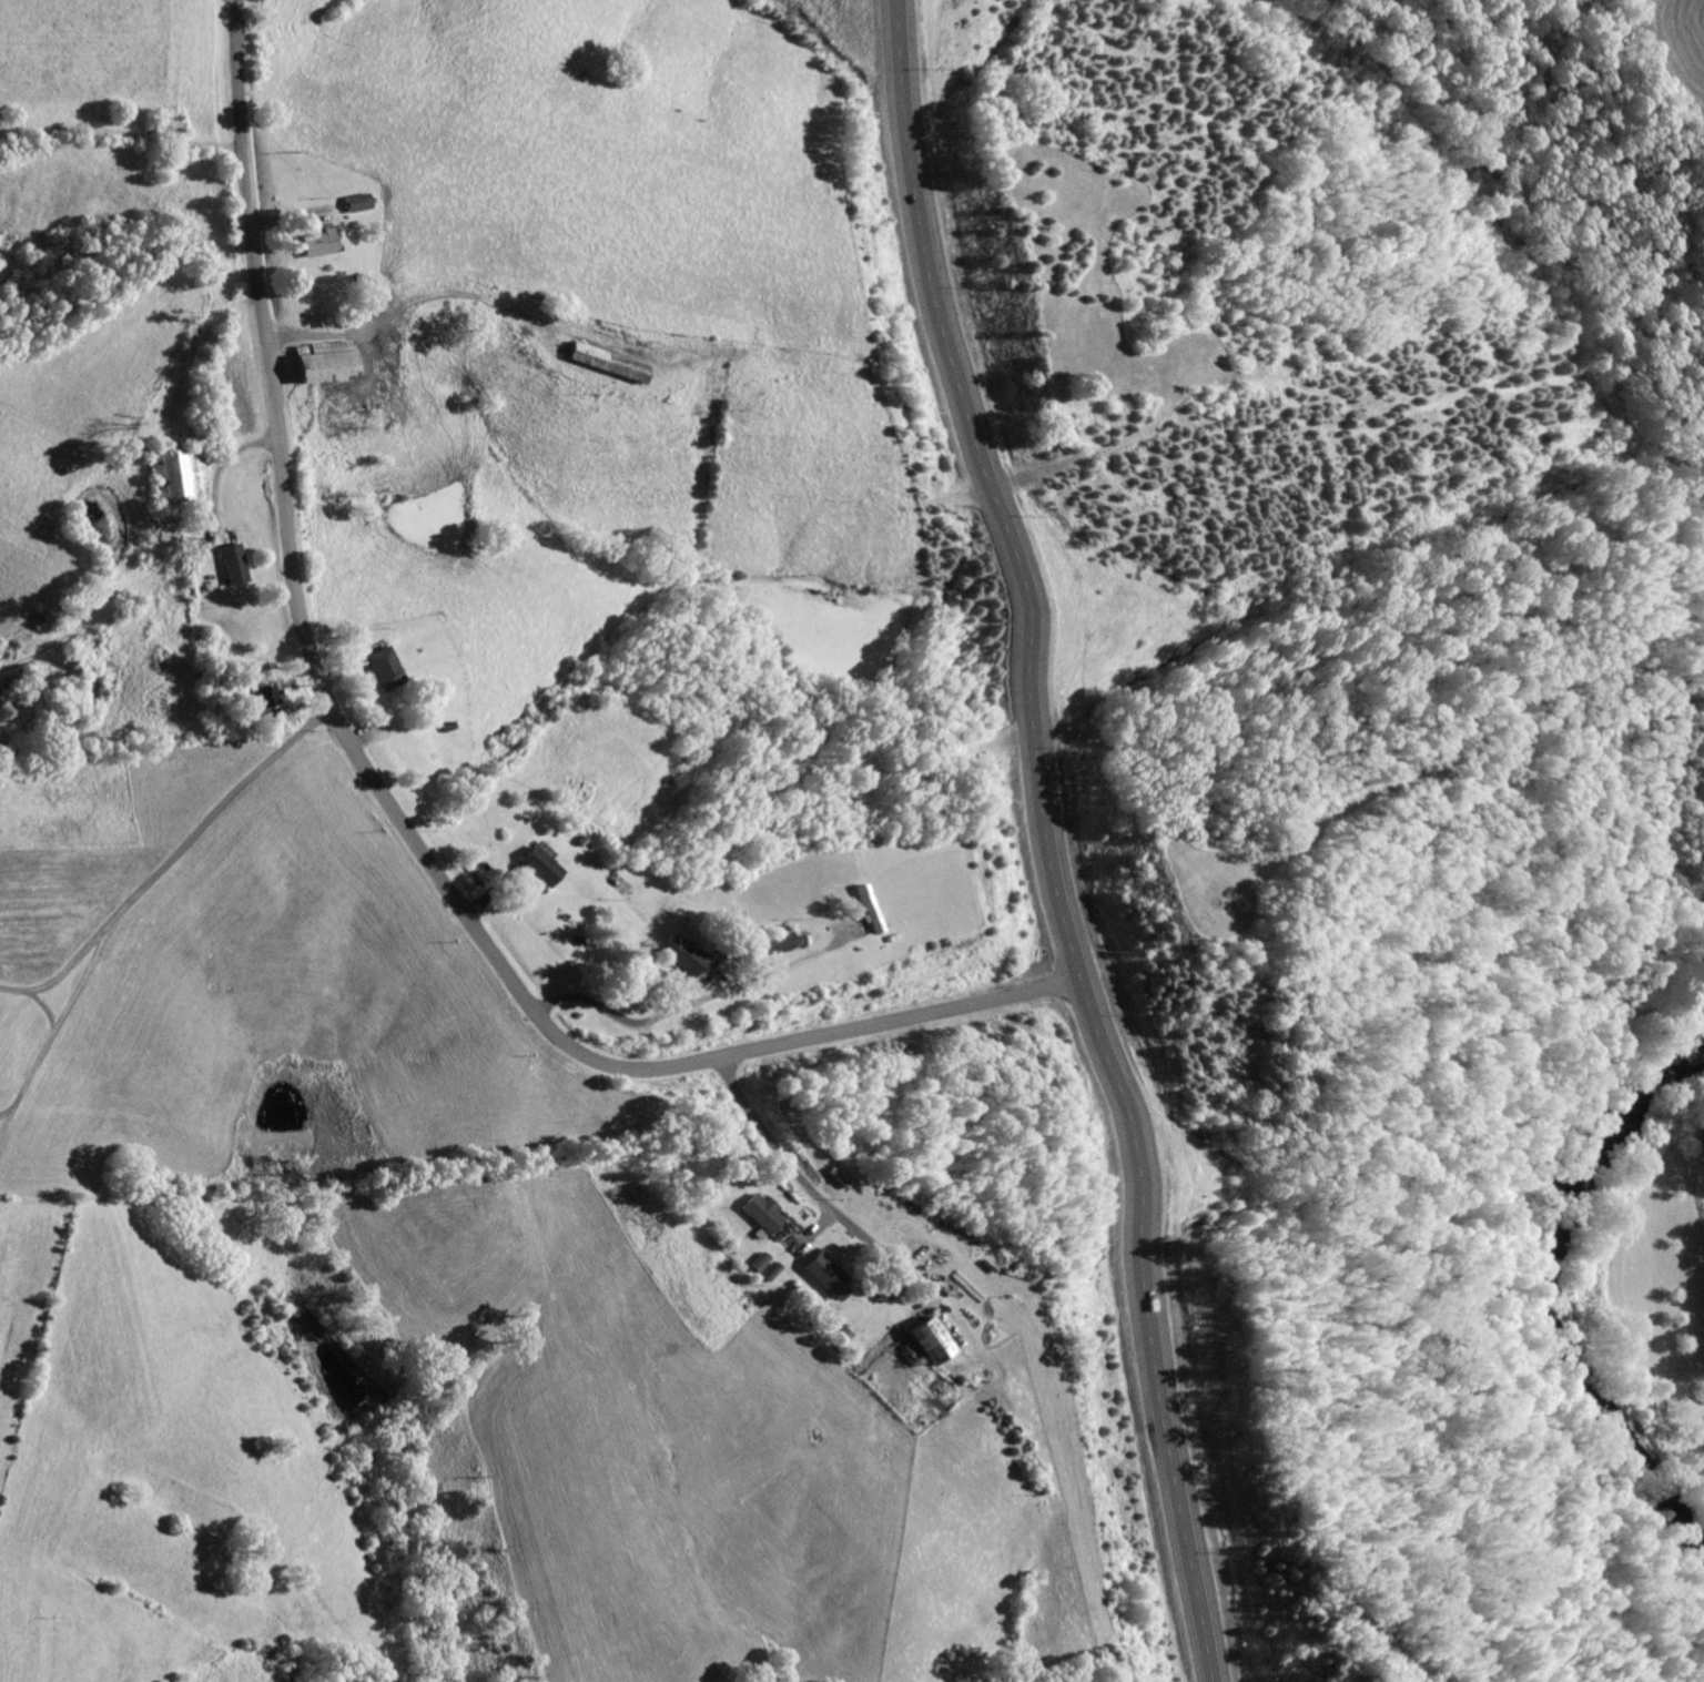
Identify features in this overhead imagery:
building: (353, 202)
building: (318, 242)
building: (316, 359)
building: (600, 359)
building: (229, 561)
building: (381, 666)
road: (388, 802)
road: (1057, 841)
road: (168, 860)
building: (539, 864)
building: (864, 910)
building: (680, 954)
building: (759, 1210)
building: (757, 1259)
building: (768, 1270)
building: (821, 1274)
building: (922, 1339)

